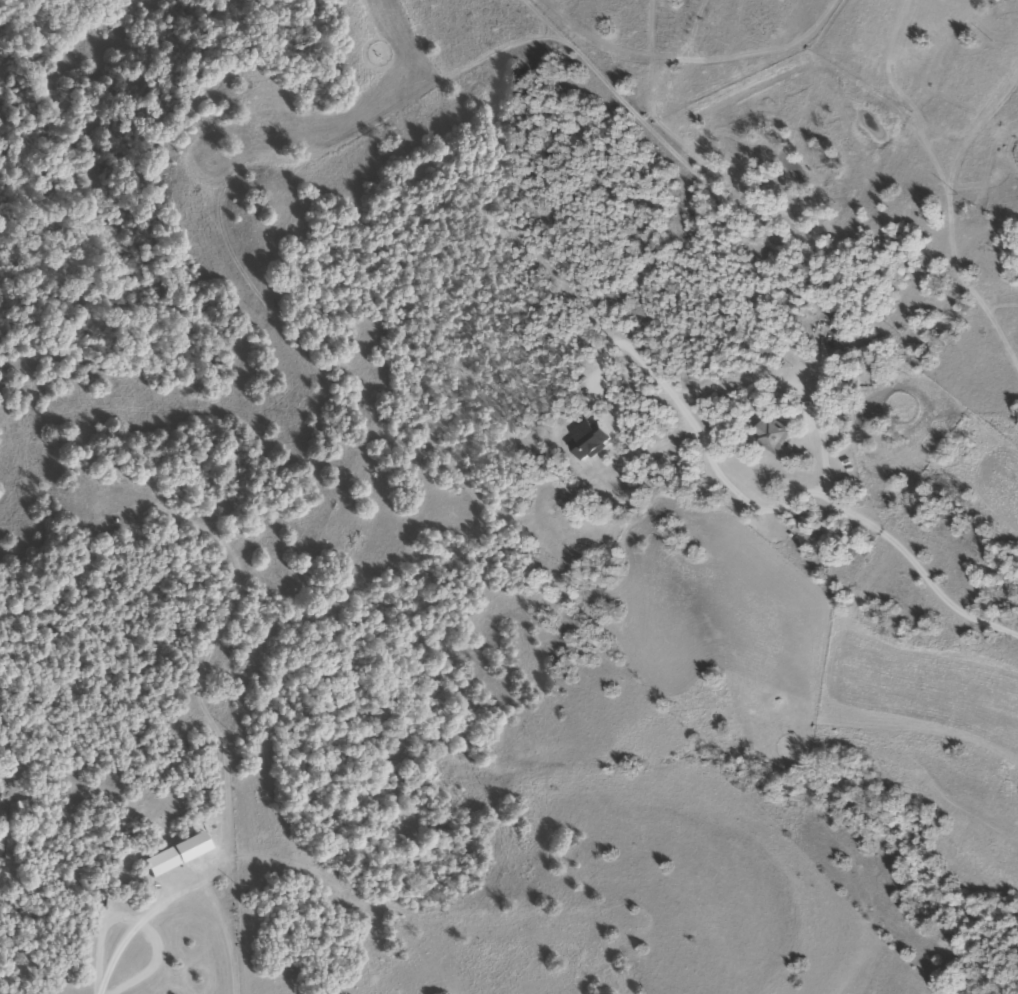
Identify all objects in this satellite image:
building: (764, 353)
building: (866, 361)
building: (771, 434)
building: (159, 863)
road: (142, 920)

